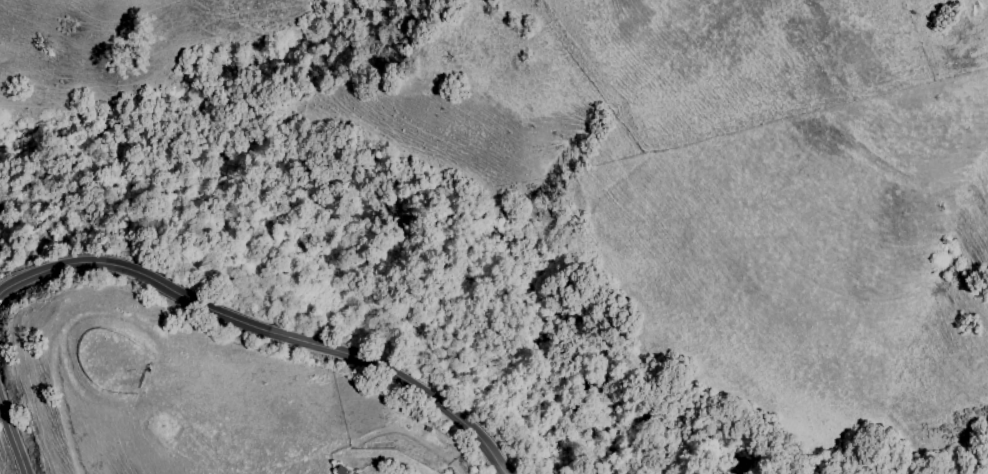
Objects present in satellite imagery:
road: (266, 330)
road: (13, 439)

